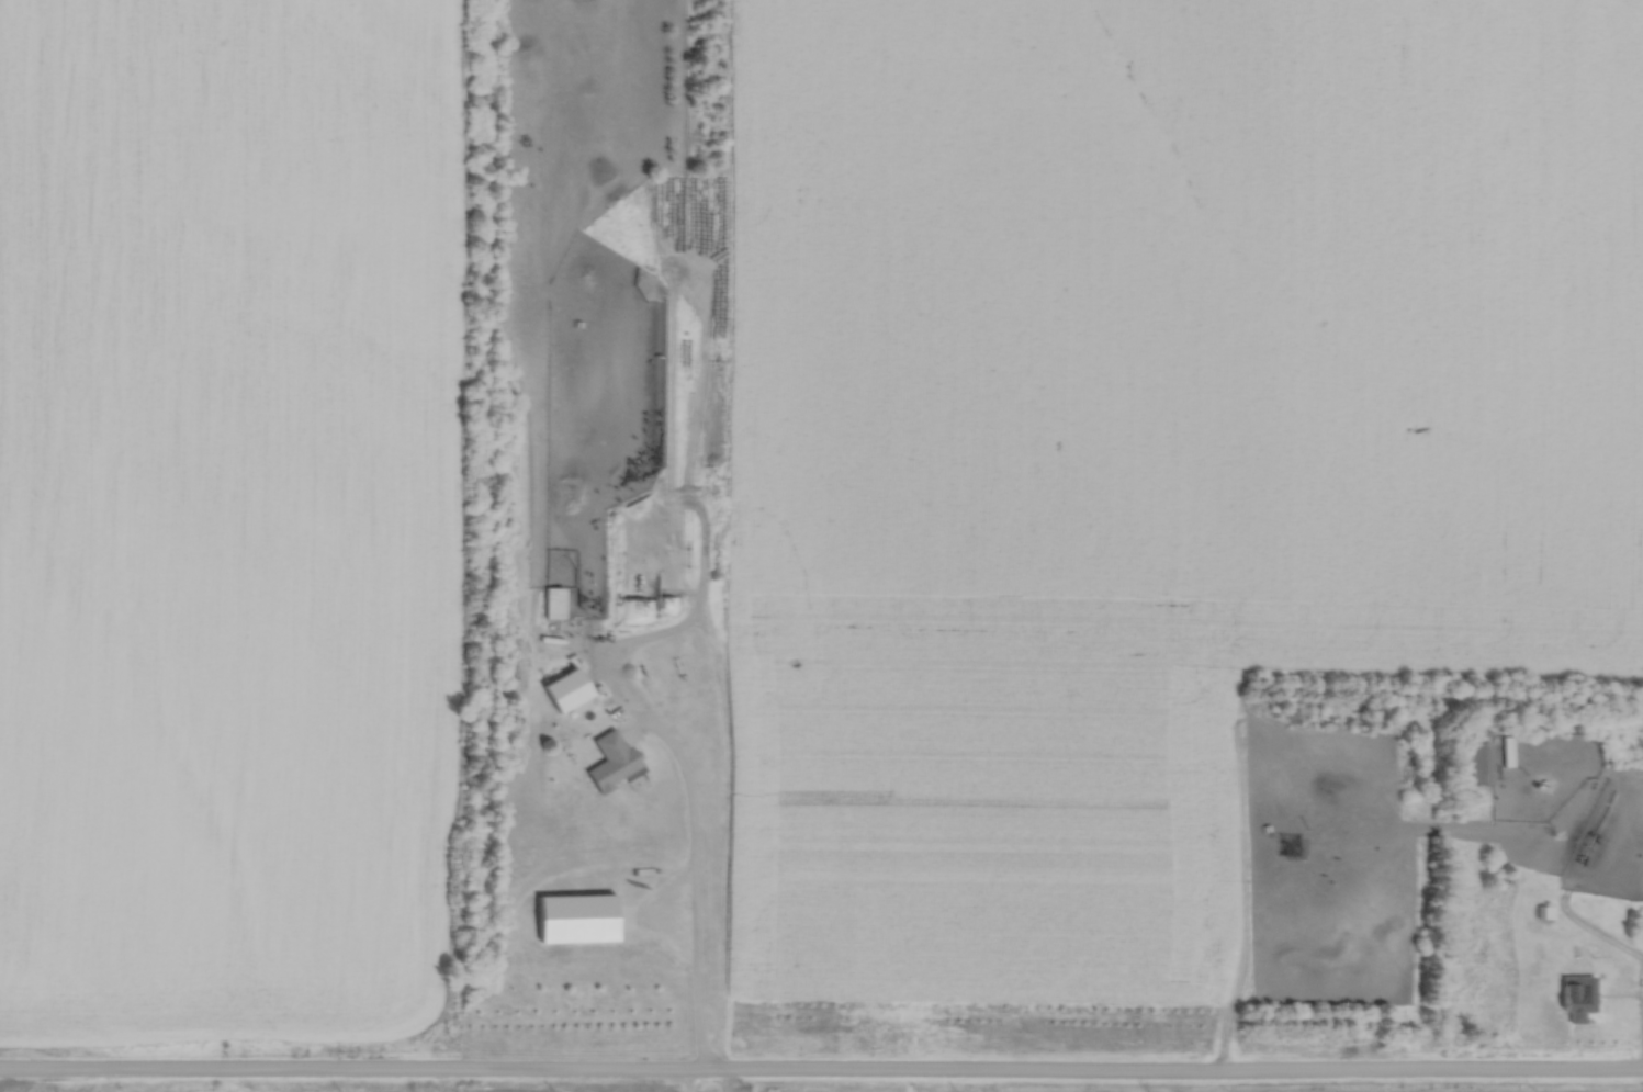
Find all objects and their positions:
building: (552, 601)
building: (570, 686)
building: (611, 762)
building: (1490, 763)
building: (1584, 857)
road: (697, 926)
building: (1577, 995)
road: (821, 1074)
road: (695, 1083)

